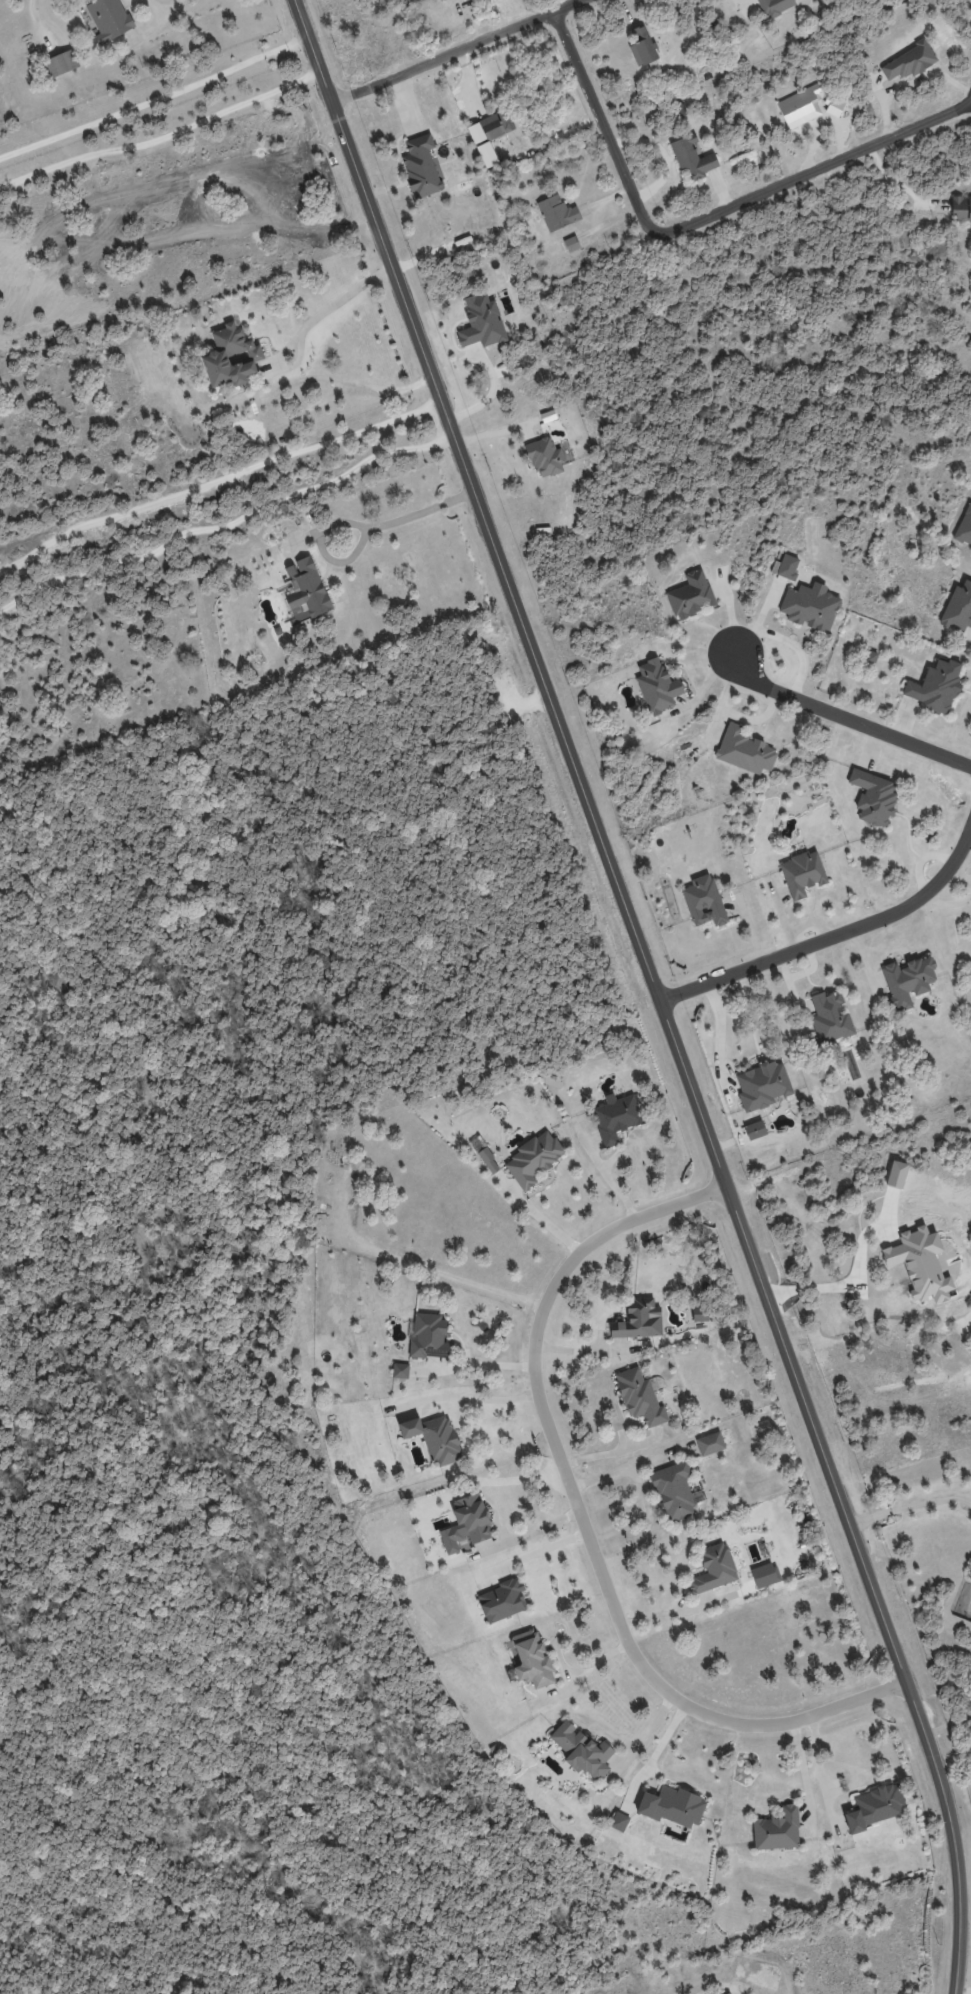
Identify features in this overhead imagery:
building: (468, 0)
building: (776, 6)
road: (165, 10)
building: (109, 19)
road: (454, 51)
building: (911, 62)
building: (62, 63)
building: (648, 64)
road: (155, 99)
building: (797, 109)
building: (837, 109)
road: (601, 123)
building: (487, 128)
building: (508, 131)
road: (163, 137)
building: (484, 144)
building: (689, 159)
building: (422, 168)
road: (815, 168)
building: (960, 202)
building: (554, 211)
building: (490, 228)
building: (571, 243)
road: (329, 304)
building: (487, 326)
building: (231, 357)
building: (543, 452)
road: (216, 479)
road: (405, 515)
road: (227, 524)
building: (964, 526)
building: (787, 566)
building: (306, 589)
building: (691, 595)
building: (810, 606)
building: (958, 608)
building: (657, 686)
building: (936, 686)
road: (848, 717)
building: (744, 750)
building: (873, 797)
building: (802, 873)
building: (703, 901)
road: (836, 934)
building: (907, 981)
road: (657, 990)
building: (830, 1018)
building: (763, 1085)
building: (615, 1117)
building: (755, 1129)
building: (485, 1156)
building: (533, 1159)
road: (606, 1175)
road: (537, 1215)
building: (700, 1313)
building: (637, 1319)
building: (428, 1336)
building: (400, 1370)
building: (640, 1397)
road: (466, 1399)
building: (434, 1438)
building: (710, 1443)
road: (618, 1448)
road: (625, 1466)
building: (674, 1491)
road: (908, 1504)
road: (579, 1517)
building: (466, 1523)
road: (526, 1535)
building: (713, 1568)
building: (765, 1575)
building: (502, 1600)
road: (667, 1614)
building: (529, 1659)
road: (947, 1725)
road: (643, 1733)
building: (581, 1750)
road: (802, 1768)
road: (820, 1773)
building: (672, 1806)
building: (874, 1807)
building: (619, 1821)
building: (777, 1829)
building: (729, 1993)

